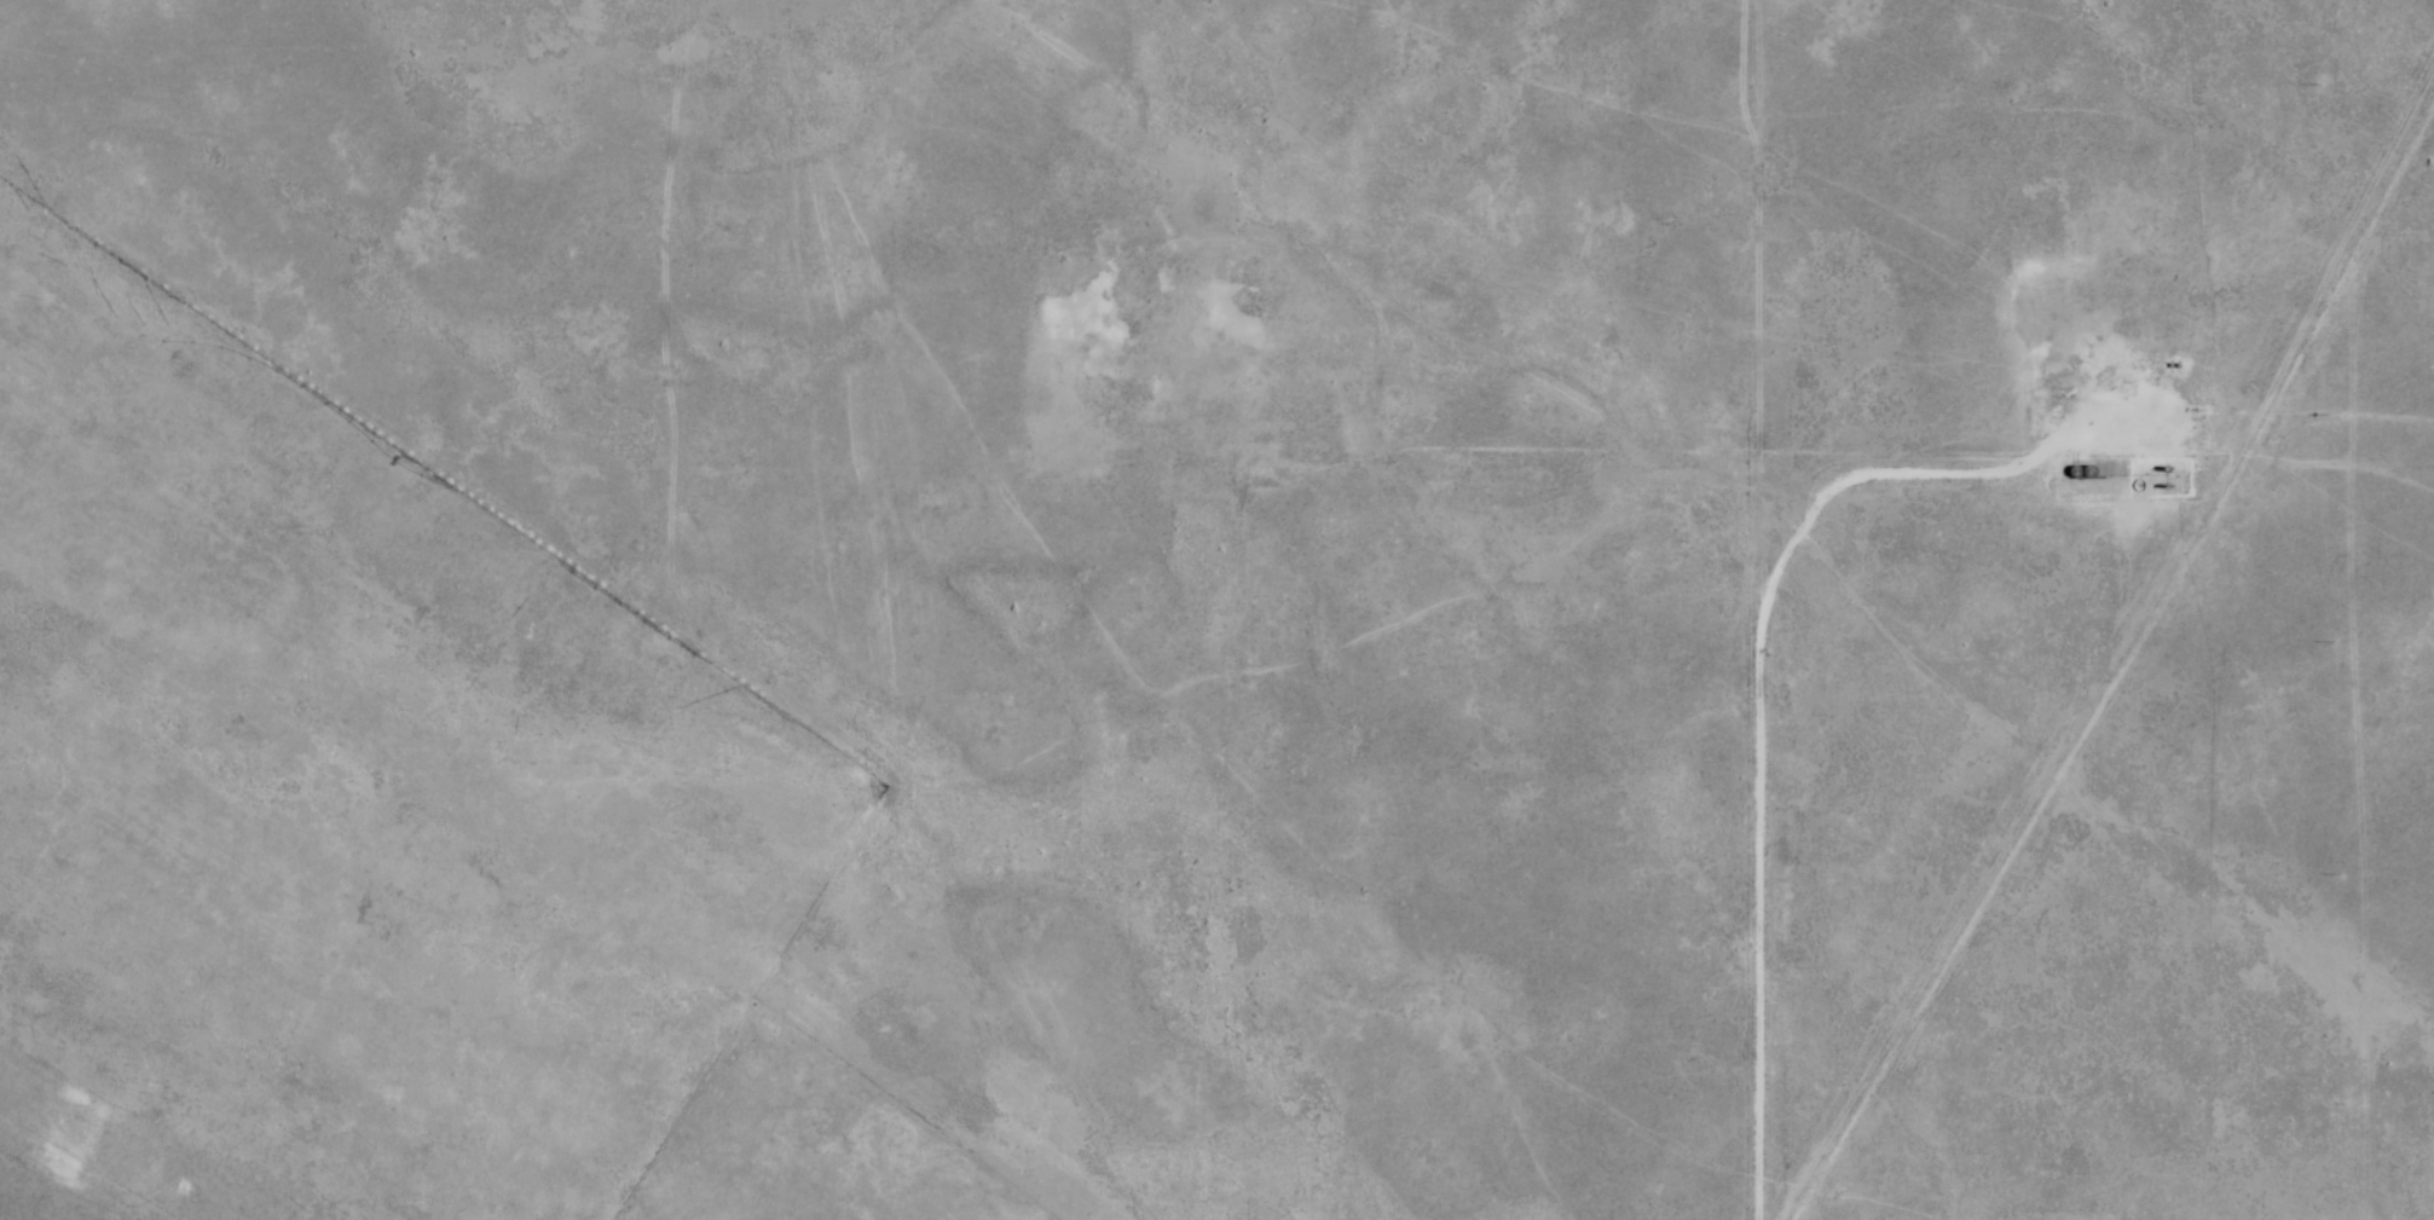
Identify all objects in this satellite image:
road: (605, 826)

